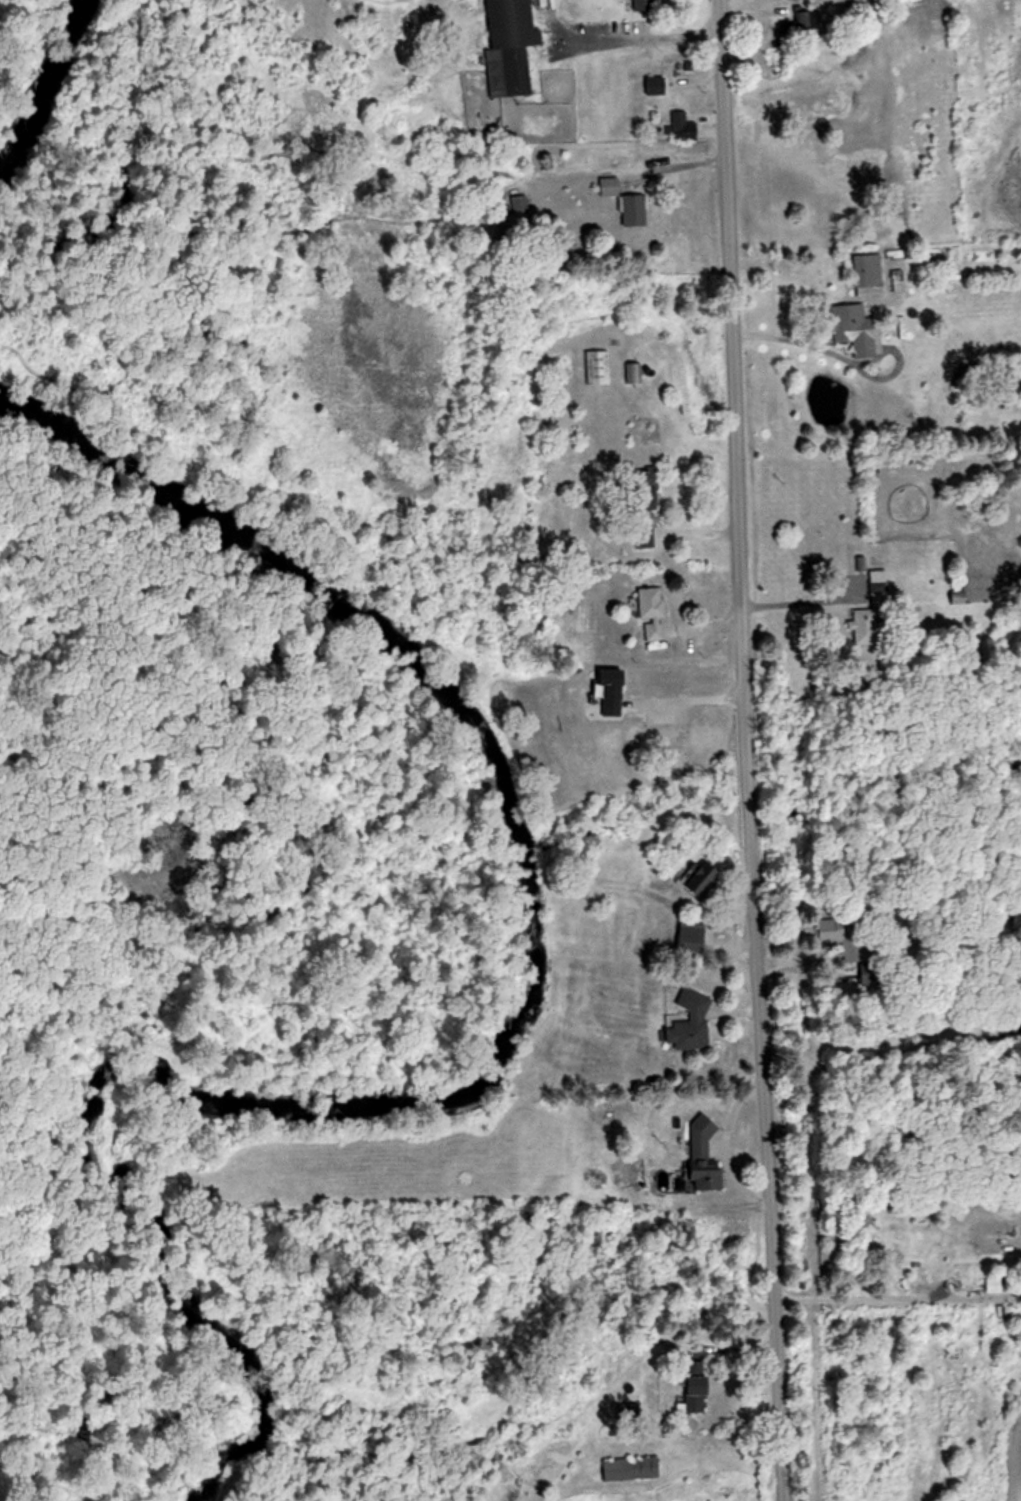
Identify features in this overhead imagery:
building: (802, 0)
building: (643, 5)
road: (627, 40)
building: (510, 46)
building: (655, 86)
building: (683, 127)
building: (608, 187)
building: (633, 210)
building: (867, 275)
building: (854, 330)
road: (825, 349)
building: (597, 368)
building: (632, 374)
building: (653, 614)
building: (861, 626)
building: (613, 693)
road: (685, 699)
road: (739, 751)
building: (696, 875)
building: (1010, 918)
building: (832, 928)
building: (692, 937)
building: (690, 1025)
building: (702, 1159)
building: (628, 1173)
road: (881, 1293)
building: (695, 1395)
building: (626, 1415)
building: (630, 1468)
road: (525, 1497)

